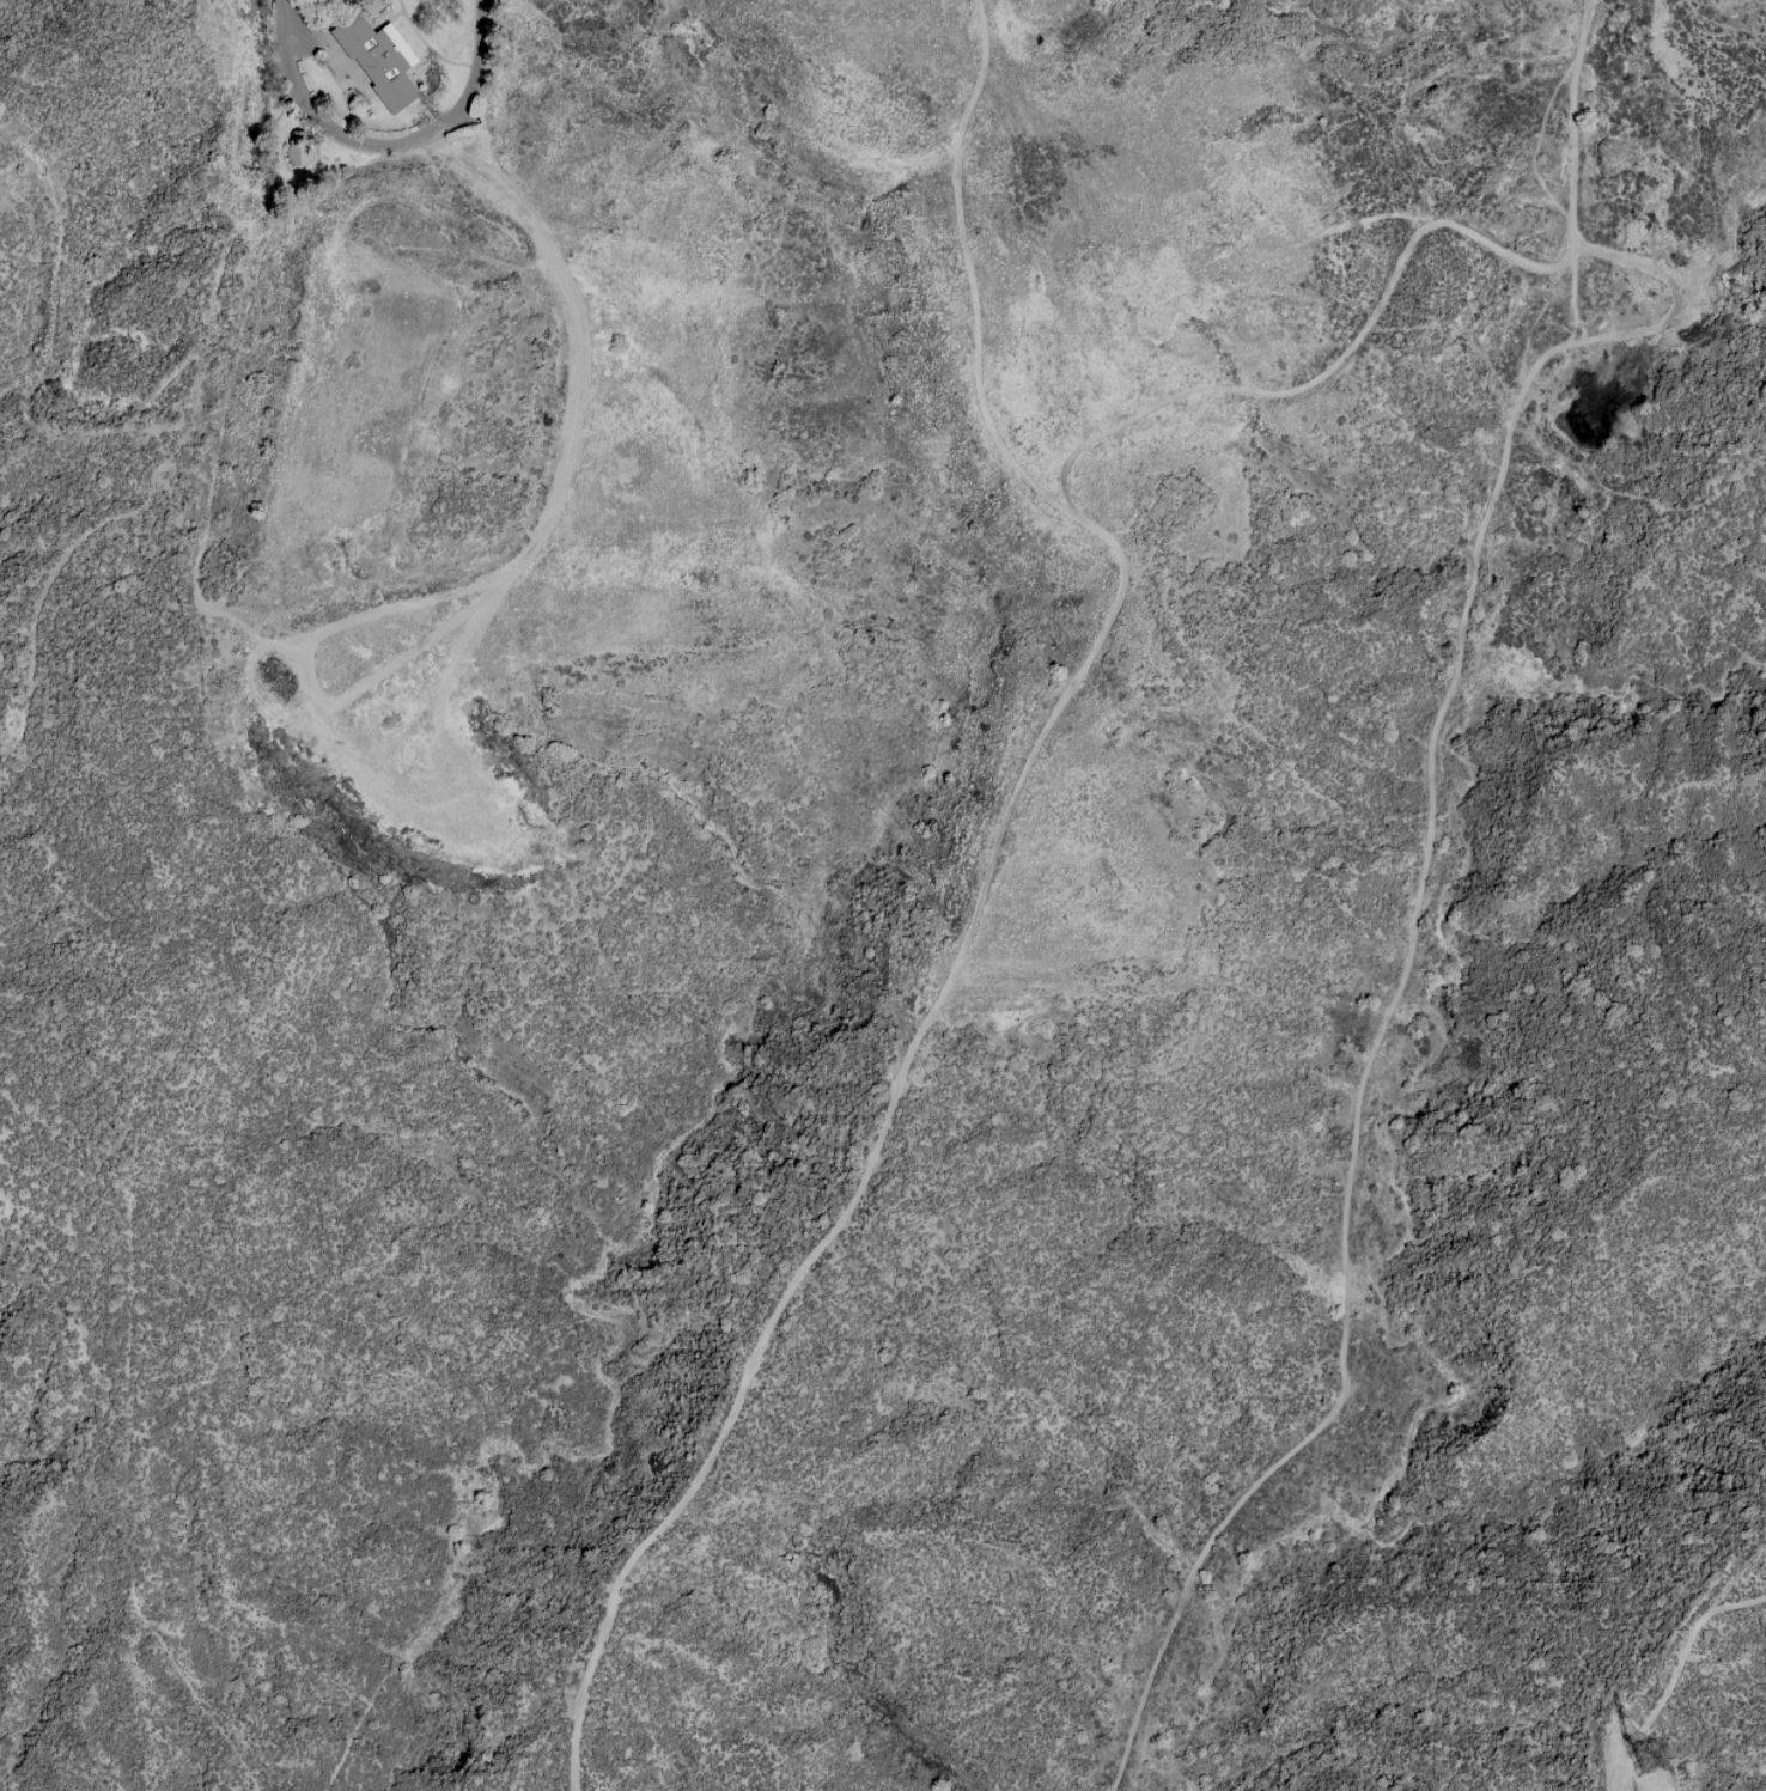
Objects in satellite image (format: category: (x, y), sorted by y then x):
building: (367, 61)
road: (384, 142)
power tower: (1650, 1759)

